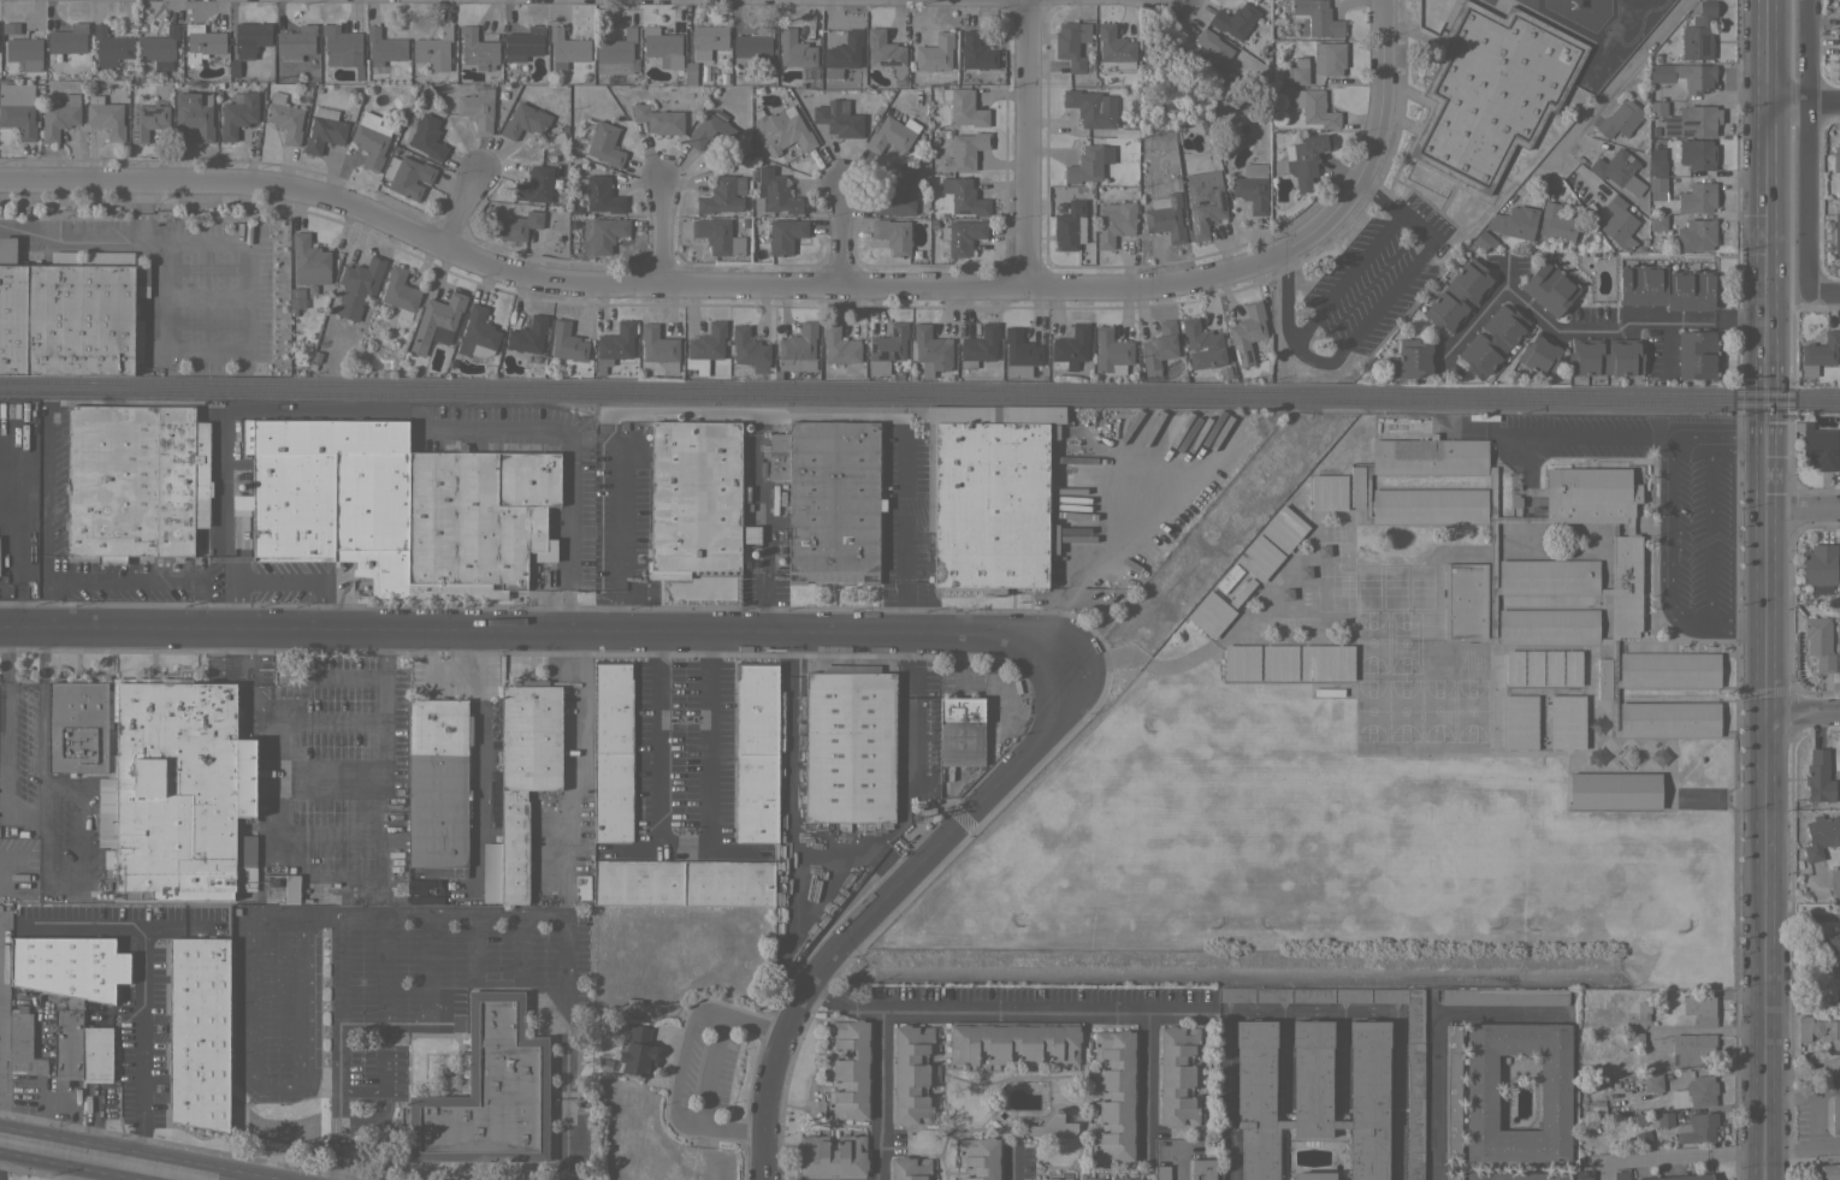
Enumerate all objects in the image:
building: (1315, 18)
building: (1233, 19)
building: (10, 28)
building: (1698, 32)
building: (69, 38)
building: (250, 38)
building: (708, 40)
building: (297, 41)
building: (202, 42)
building: (1072, 43)
building: (752, 45)
building: (522, 46)
building: (662, 46)
building: (111, 47)
building: (229, 47)
building: (1116, 47)
building: (159, 48)
building: (342, 48)
building: (384, 48)
building: (433, 48)
building: (478, 48)
building: (567, 48)
building: (794, 49)
building: (24, 52)
building: (976, 52)
building: (844, 53)
building: (935, 53)
building: (1158, 53)
building: (616, 54)
building: (887, 54)
building: (1213, 57)
building: (1329, 58)
building: (233, 69)
building: (1296, 71)
building: (131, 72)
building: (690, 73)
building: (1685, 76)
building: (416, 77)
building: (722, 77)
building: (1314, 78)
building: (218, 83)
building: (1492, 90)
building: (218, 91)
building: (229, 95)
road: (1804, 103)
building: (963, 107)
building: (1314, 107)
building: (18, 108)
building: (478, 108)
building: (1090, 108)
building: (1657, 108)
building: (195, 113)
building: (237, 114)
road: (1582, 115)
building: (59, 117)
building: (106, 117)
building: (838, 118)
building: (285, 119)
building: (659, 119)
building: (1619, 119)
building: (147, 120)
building: (523, 120)
building: (1692, 120)
building: (562, 124)
building: (324, 130)
building: (710, 131)
building: (781, 131)
building: (892, 135)
road: (1374, 135)
building: (427, 137)
building: (552, 137)
road: (1022, 143)
building: (369, 144)
building: (604, 144)
road: (1809, 147)
building: (965, 150)
building: (1697, 154)
building: (1304, 159)
building: (1836, 159)
building: (1089, 162)
building: (1657, 162)
building: (1617, 170)
building: (407, 176)
building: (1175, 180)
building: (534, 185)
building: (1252, 186)
building: (1657, 188)
building: (774, 192)
building: (600, 194)
building: (722, 195)
building: (899, 195)
building: (963, 195)
building: (1697, 197)
road: (1392, 204)
building: (1205, 207)
road: (462, 208)
building: (572, 209)
building: (1165, 217)
road: (1765, 220)
building: (742, 221)
building: (1657, 221)
building: (1114, 223)
building: (1619, 223)
building: (1556, 224)
building: (515, 225)
building: (1070, 226)
road: (659, 230)
building: (1513, 230)
building: (607, 233)
building: (1836, 233)
road: (841, 235)
building: (893, 235)
building: (1696, 235)
building: (718, 236)
building: (785, 236)
building: (757, 237)
building: (960, 237)
road: (99, 238)
building: (1641, 242)
building: (1475, 247)
building: (309, 260)
road: (1348, 274)
building: (357, 286)
building: (310, 287)
road: (643, 287)
building: (1549, 287)
building: (1667, 287)
building: (400, 290)
building: (295, 291)
building: (1457, 295)
road: (1824, 295)
road: (1284, 300)
building: (294, 304)
building: (69, 314)
road: (1475, 315)
road: (1371, 316)
building: (437, 321)
road: (1611, 326)
road: (245, 332)
building: (478, 333)
building: (1247, 333)
building: (529, 337)
building: (1492, 340)
building: (567, 342)
building: (726, 342)
building: (615, 344)
building: (1201, 344)
building: (705, 345)
building: (839, 345)
building: (978, 345)
building: (658, 346)
building: (1070, 346)
building: (1159, 346)
building: (887, 348)
building: (750, 349)
building: (798, 349)
building: (931, 349)
building: (1111, 351)
building: (1818, 352)
building: (1019, 354)
building: (1539, 354)
building: (1697, 354)
building: (315, 356)
building: (1604, 356)
building: (1414, 357)
building: (312, 367)
building: (1224, 372)
building: (775, 374)
building: (895, 374)
building: (925, 374)
building: (1048, 376)
railway: (919, 384)
railway: (919, 398)
road: (851, 416)
road: (419, 417)
building: (1108, 420)
road: (1586, 437)
road: (1737, 440)
building: (1067, 444)
building: (1818, 449)
building: (779, 456)
road: (1765, 478)
building: (135, 481)
building: (1329, 492)
building: (745, 493)
building: (996, 493)
building: (693, 497)
building: (833, 502)
building: (397, 506)
road: (619, 509)
road: (1803, 512)
road: (767, 520)
building: (1284, 528)
road: (1709, 532)
building: (744, 536)
road: (1668, 552)
building: (1259, 557)
road: (1087, 558)
building: (1818, 564)
building: (1545, 574)
road: (124, 580)
road: (295, 582)
building: (1242, 592)
road: (225, 594)
building: (1211, 613)
road: (540, 629)
building: (1818, 641)
building: (1839, 660)
building: (1241, 662)
building: (1279, 662)
building: (1326, 663)
building: (1514, 668)
building: (1533, 668)
building: (1552, 668)
building: (1572, 668)
road: (41, 705)
road: (1801, 717)
building: (1566, 721)
building: (1519, 722)
building: (960, 731)
building: (83, 743)
building: (850, 747)
building: (611, 751)
building: (756, 752)
building: (525, 771)
road: (581, 772)
building: (1818, 776)
building: (438, 785)
building: (181, 790)
building: (1614, 790)
road: (1764, 832)
building: (1821, 835)
road: (43, 844)
road: (688, 848)
building: (110, 859)
building: (491, 871)
building: (682, 883)
building: (582, 887)
building: (291, 889)
road: (884, 903)
road: (356, 912)
road: (292, 913)
road: (174, 931)
building: (1830, 950)
building: (69, 966)
road: (138, 973)
building: (1311, 995)
building: (1503, 996)
road: (1005, 1007)
building: (1699, 1009)
building: (1643, 1010)
road: (1309, 1013)
road: (1432, 1030)
building: (1818, 1030)
building: (199, 1032)
building: (1633, 1038)
building: (1013, 1042)
building: (23, 1043)
building: (67, 1043)
road: (563, 1045)
building: (1691, 1049)
building: (96, 1054)
building: (637, 1054)
road: (1282, 1061)
road: (1339, 1061)
road: (681, 1062)
building: (850, 1069)
building: (911, 1074)
building: (1176, 1075)
road: (282, 1084)
road: (1143, 1084)
building: (1414, 1084)
building: (1645, 1084)
building: (1451, 1090)
building: (1481, 1091)
building: (487, 1092)
road: (878, 1092)
building: (1694, 1092)
building: (1311, 1093)
building: (1114, 1095)
road: (1225, 1096)
road: (1394, 1096)
building: (1597, 1107)
building: (1835, 1113)
building: (1661, 1117)
building: (1052, 1126)
building: (1696, 1128)
road: (337, 1138)
road: (117, 1155)
building: (832, 1157)
building: (981, 1158)
road: (1678, 1158)
road: (1011, 1162)
road: (1176, 1162)
road: (1764, 1166)
building: (909, 1168)
building: (1202, 1169)
building: (1829, 1172)
building: (1161, 1173)
building: (1314, 1175)
building: (1515, 1175)
building: (1584, 1175)
building: (1620, 1175)
building: (1451, 1176)
building: (1679, 1176)
building: (1057, 1179)
building: (1091, 1179)
building: (1126, 1179)

